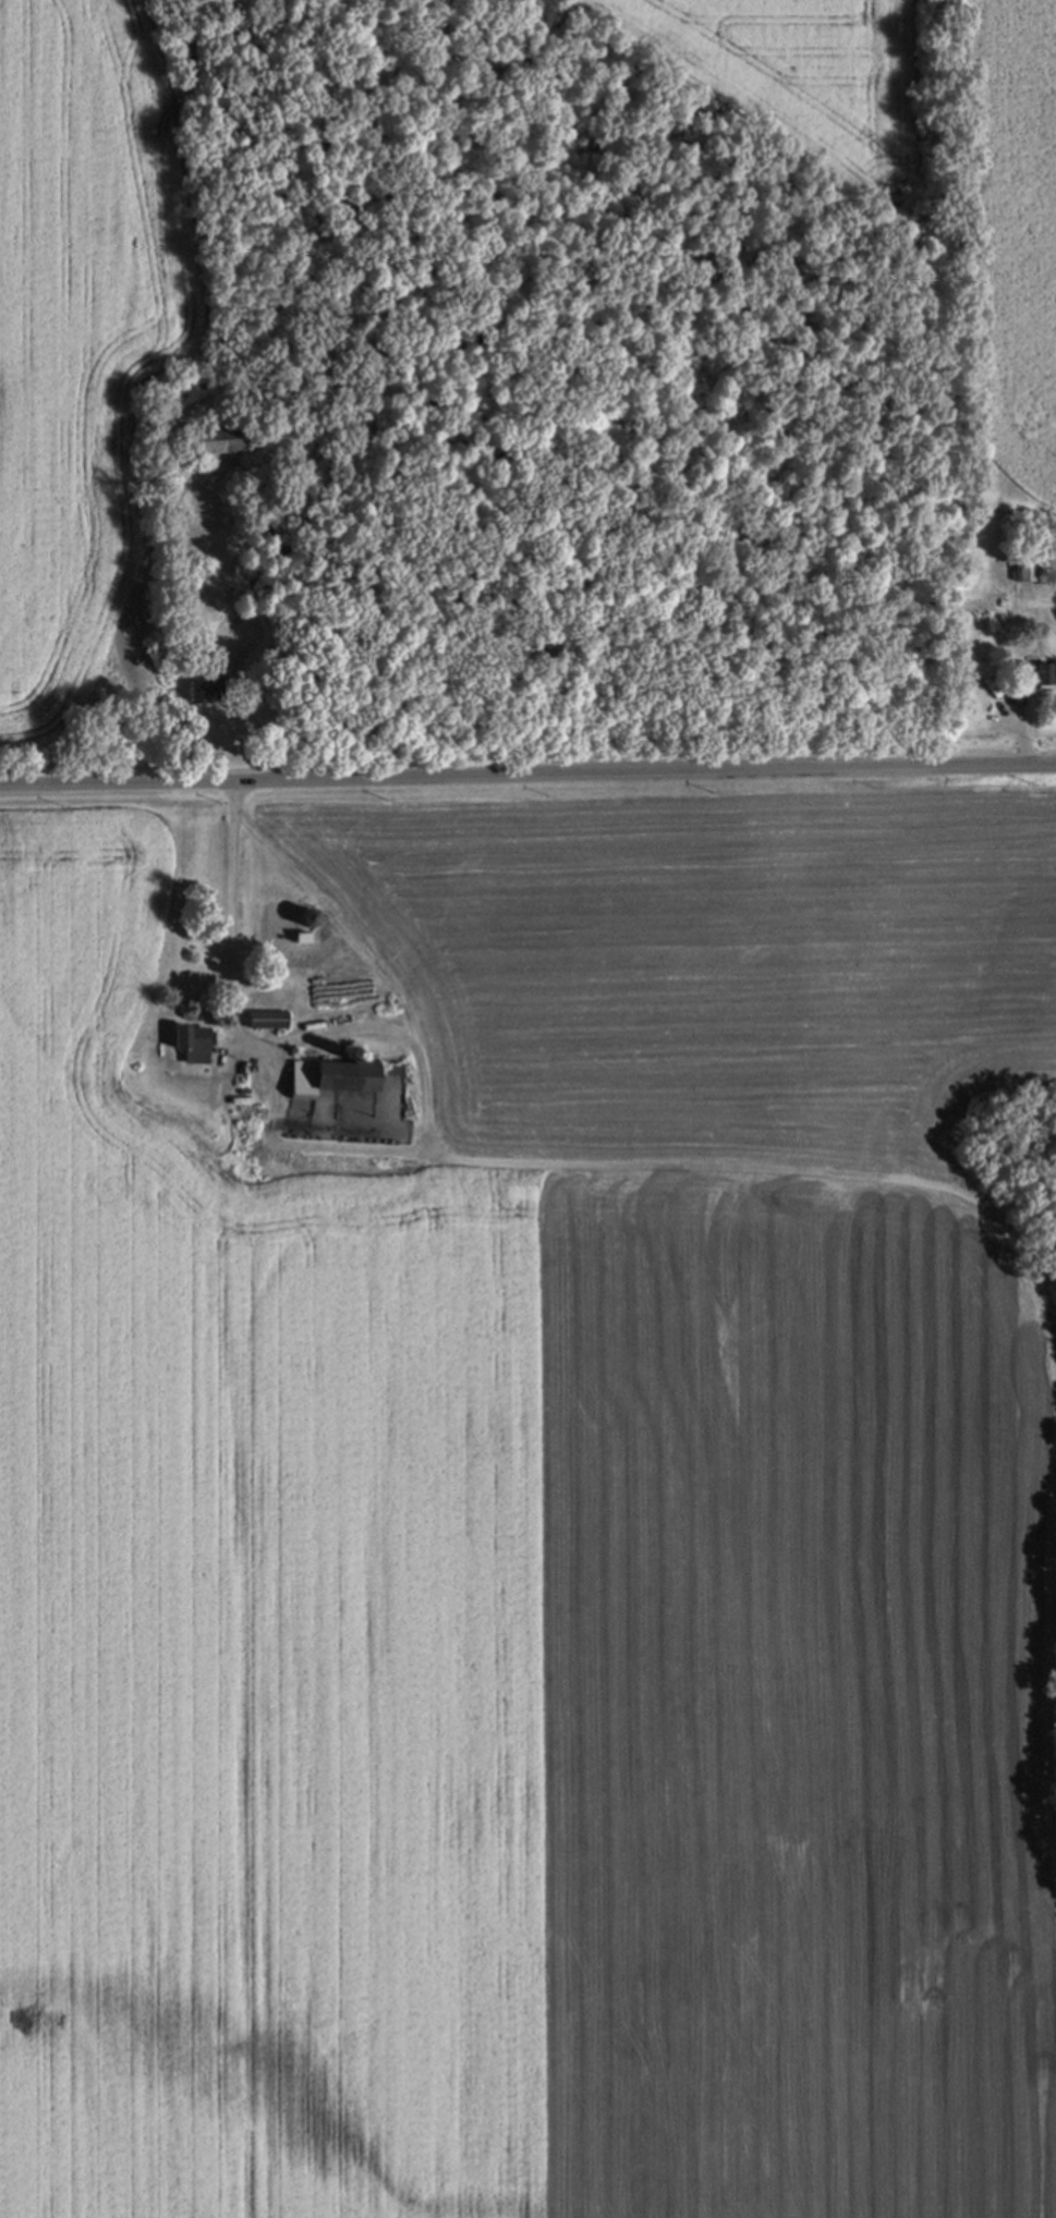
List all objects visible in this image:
building: (217, 439)
building: (265, 525)
building: (1028, 569)
building: (256, 573)
road: (239, 625)
building: (1042, 675)
building: (204, 686)
road: (1025, 724)
road: (527, 775)
building: (963, 869)
building: (304, 917)
road: (233, 928)
building: (301, 938)
building: (267, 1019)
building: (191, 1043)
road: (271, 1056)
building: (328, 1076)
road: (782, 1178)

